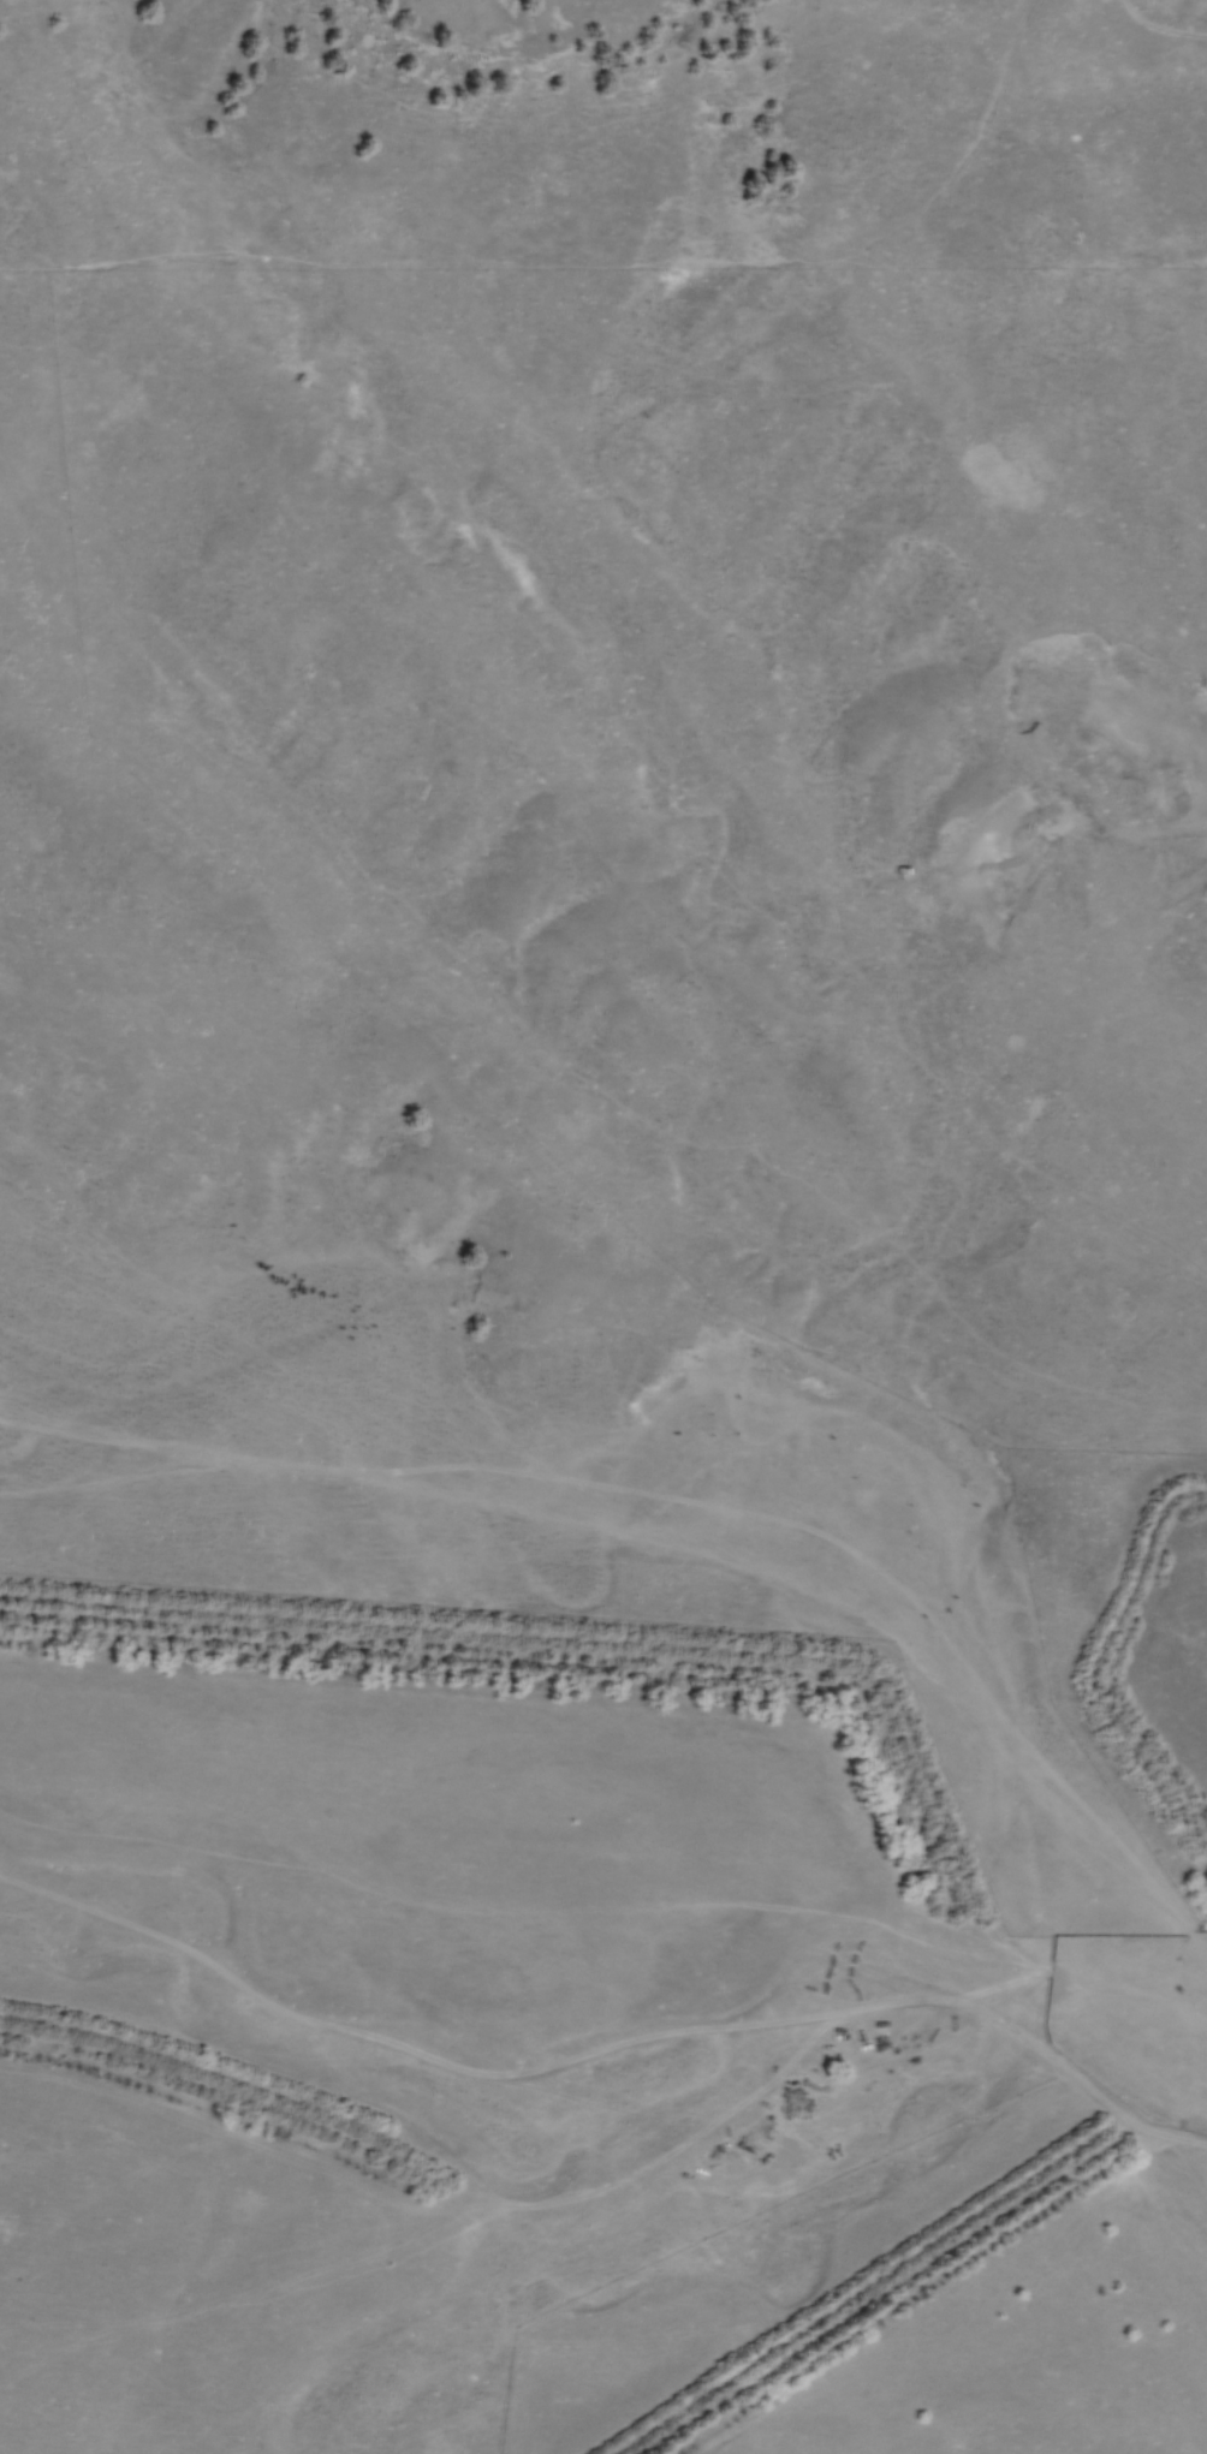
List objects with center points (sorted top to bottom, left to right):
road: (1176, 2133)

